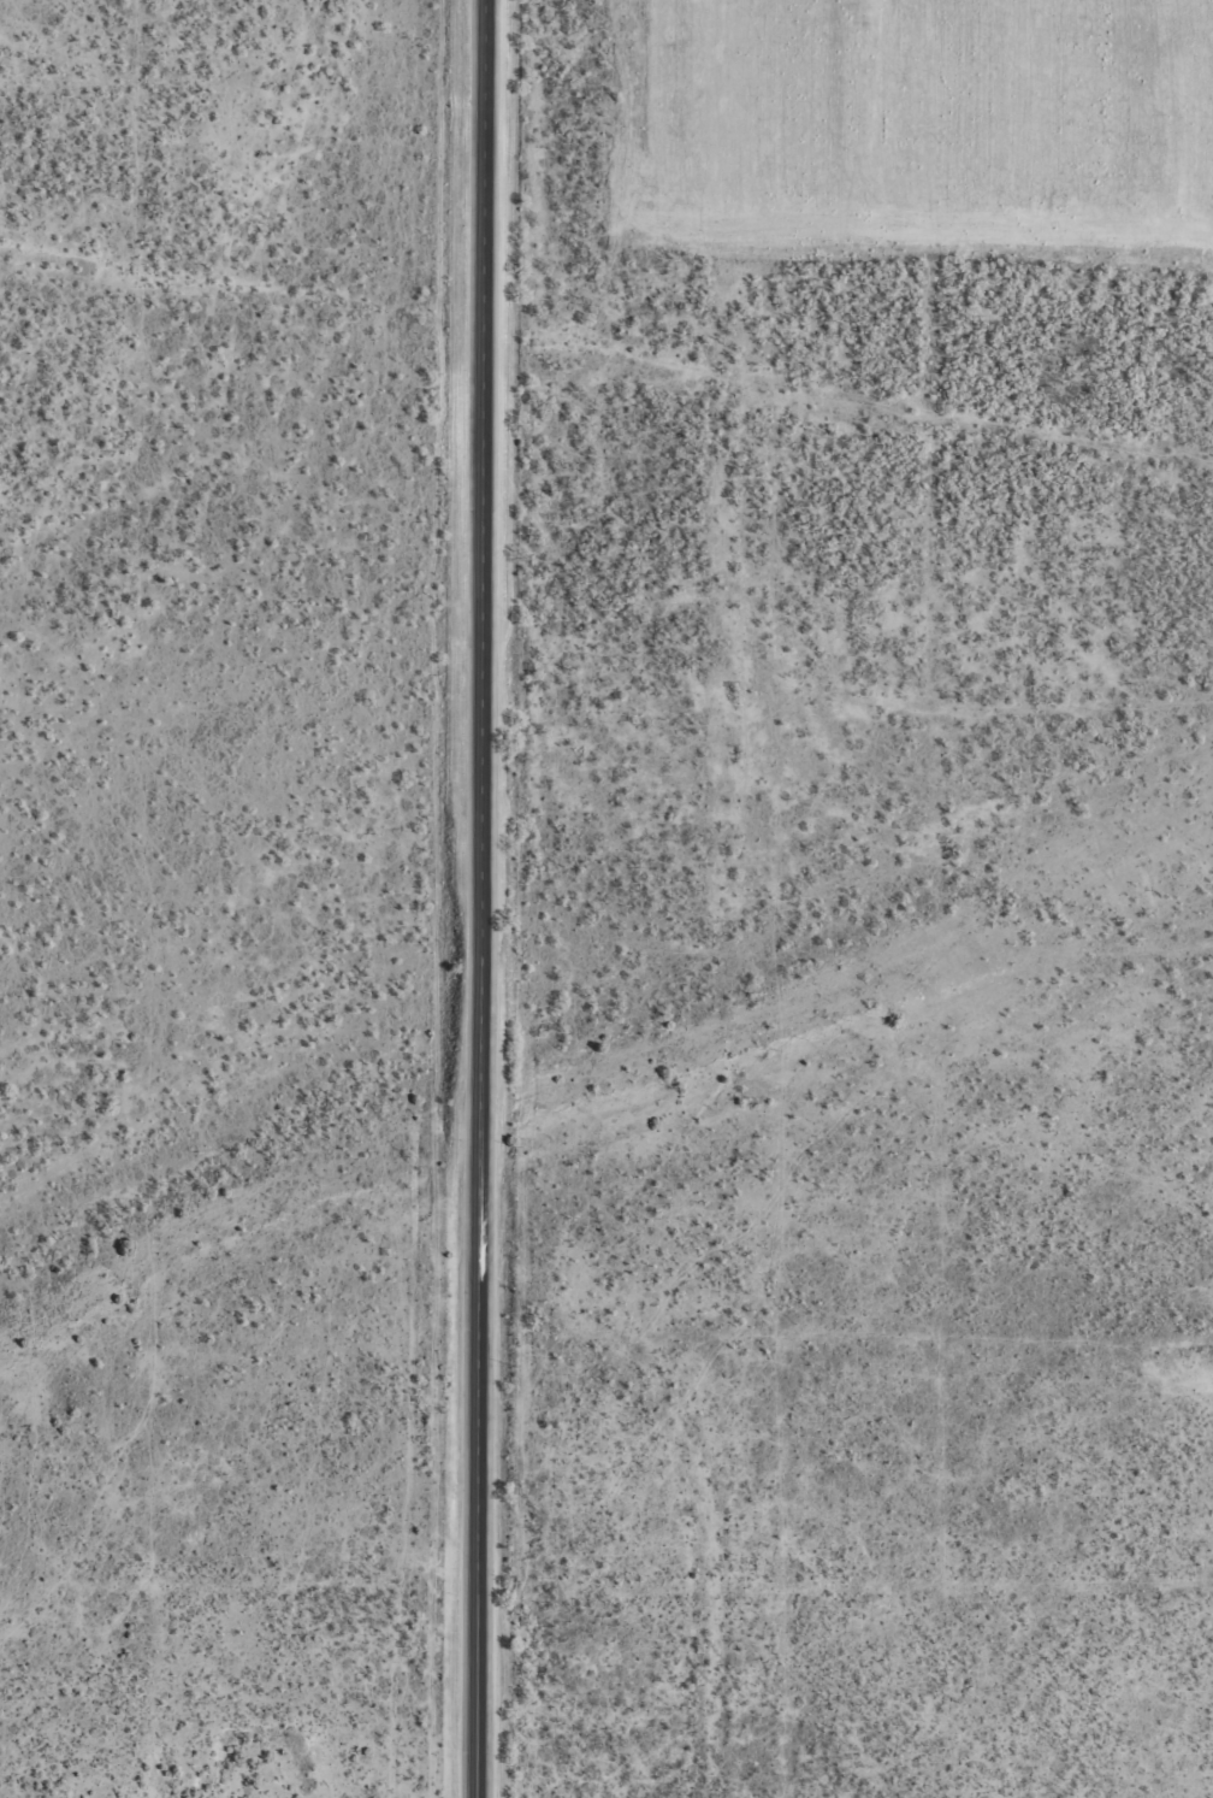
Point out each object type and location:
road: (475, 898)

